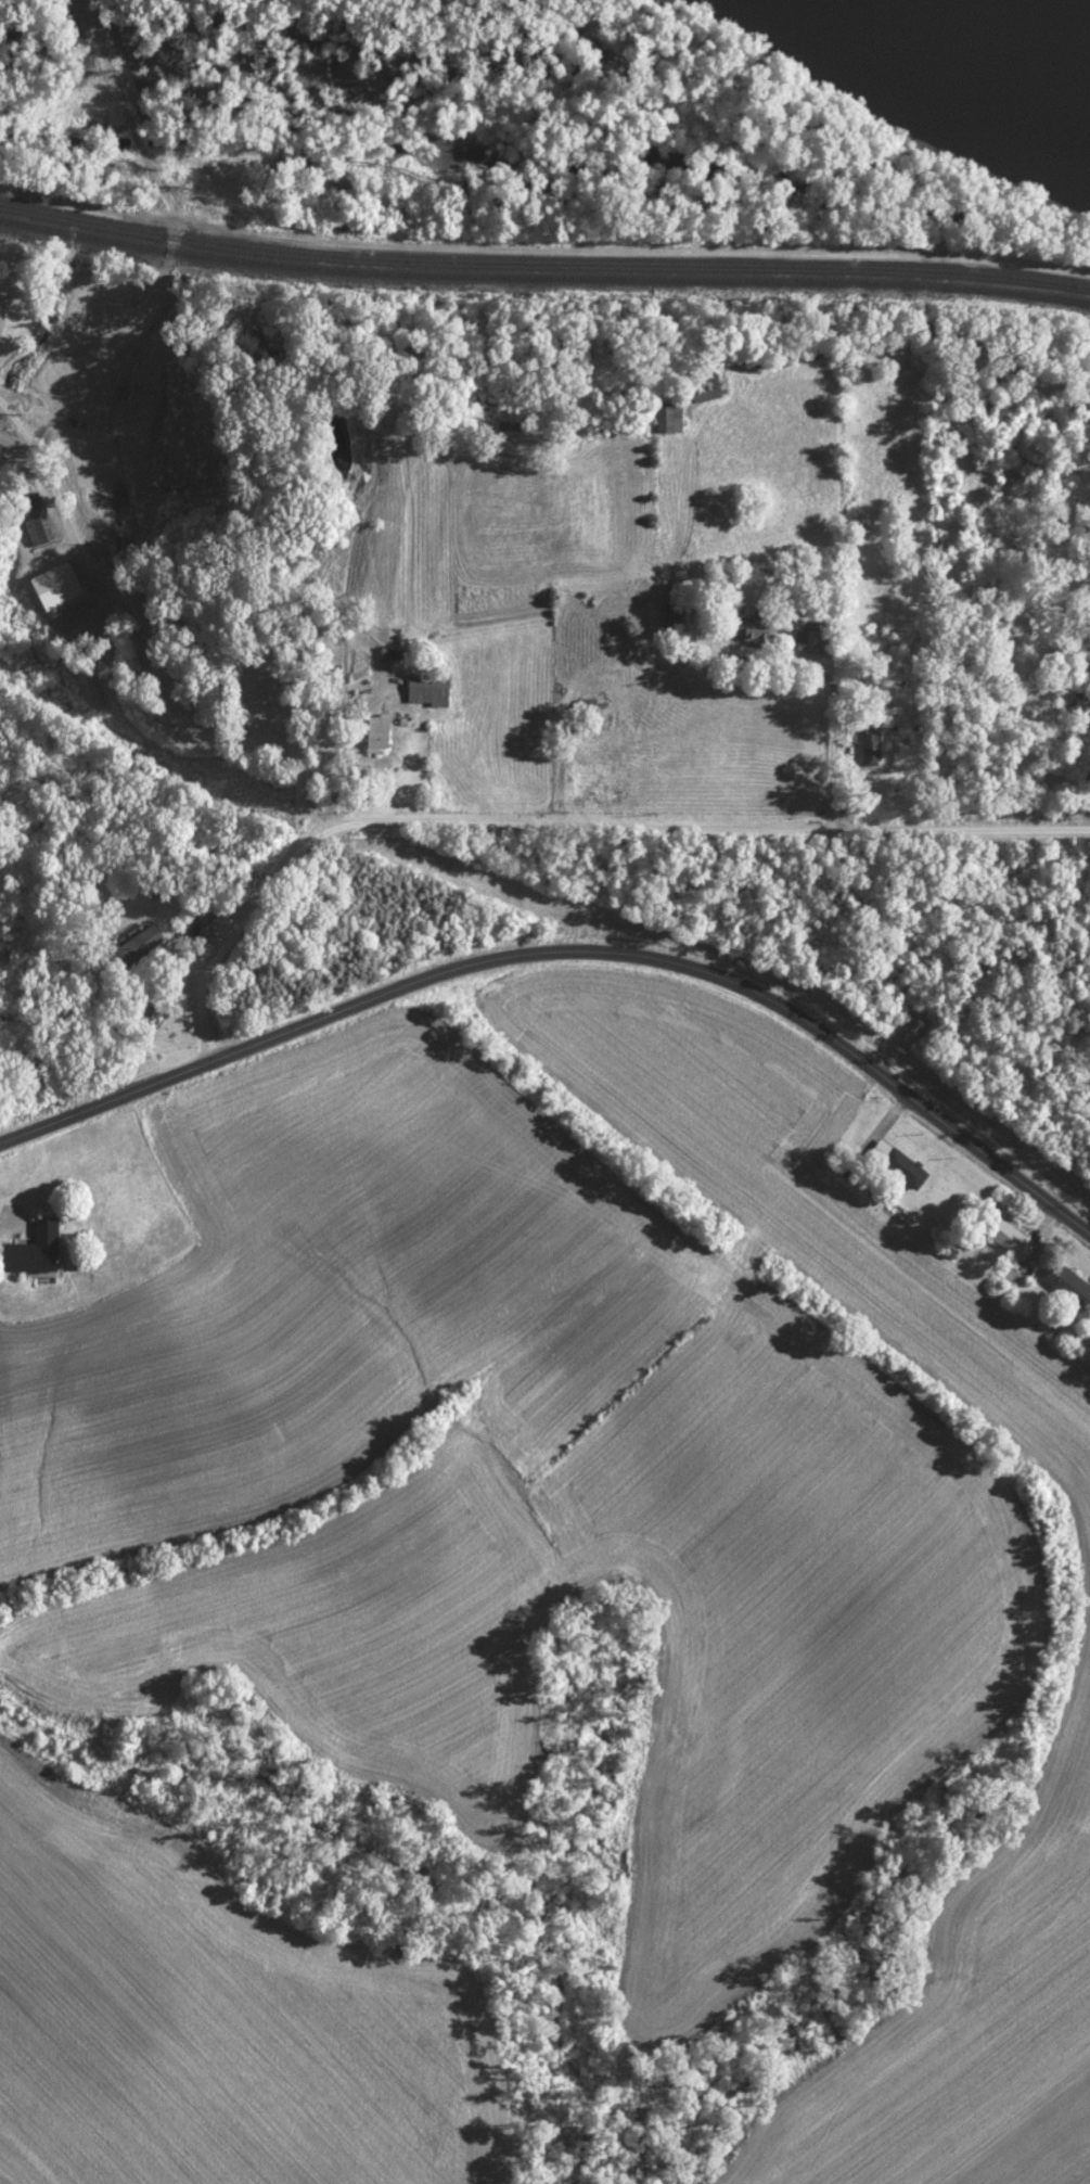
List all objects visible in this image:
railway: (543, 258)
railway: (543, 270)
building: (685, 387)
building: (654, 417)
building: (34, 523)
building: (744, 627)
building: (810, 638)
road: (132, 673)
building: (422, 691)
road: (823, 702)
building: (1078, 705)
building: (582, 706)
building: (372, 733)
building: (867, 746)
road: (713, 829)
road: (273, 887)
building: (202, 912)
building: (136, 944)
road: (569, 953)
building: (894, 1165)
road: (20, 1223)
building: (1002, 1237)
building: (29, 1251)
building: (1063, 1285)

